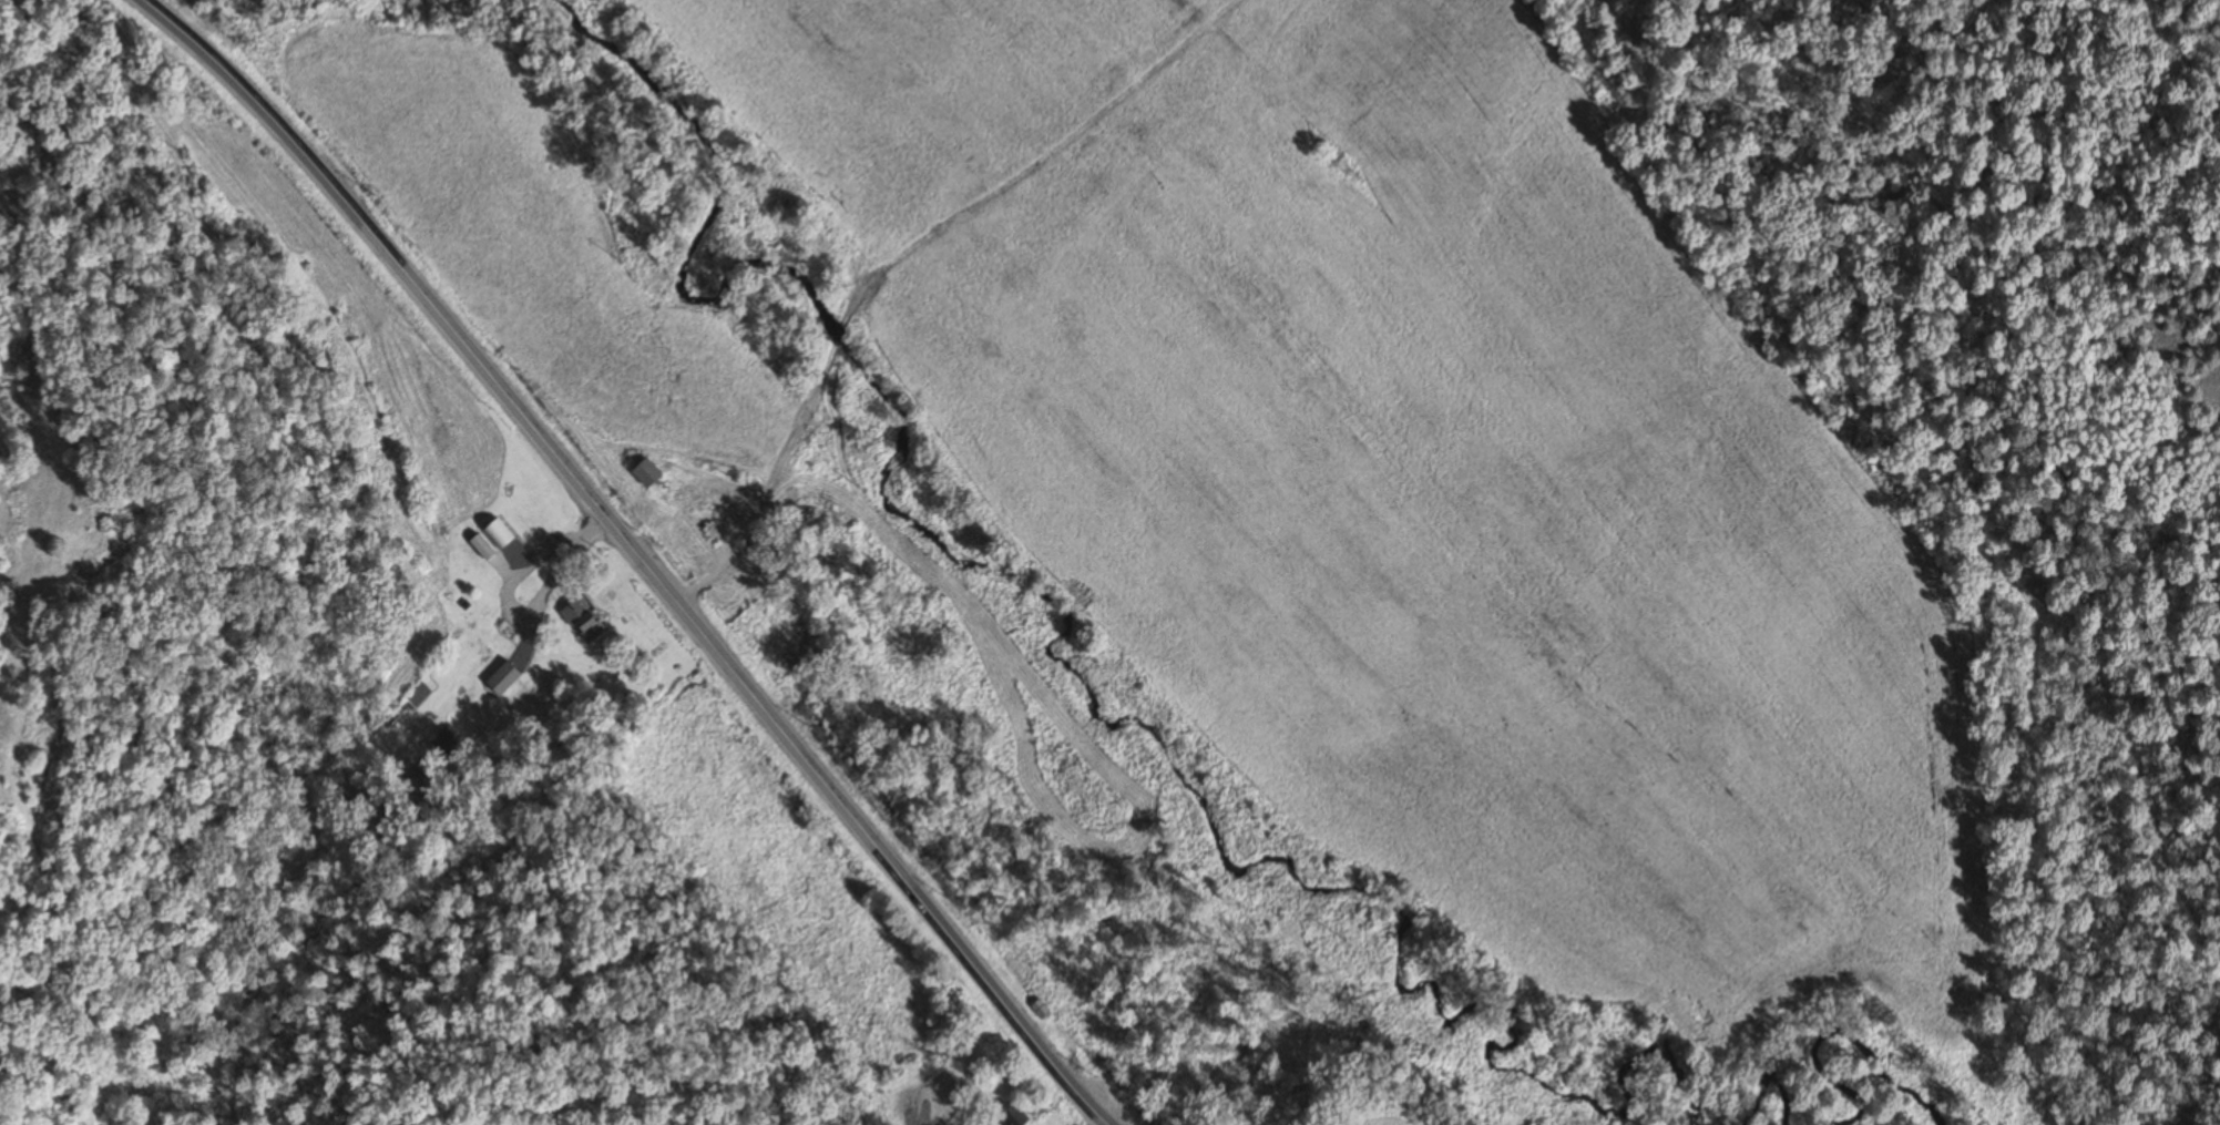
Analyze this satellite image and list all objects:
building: (608, 434)
building: (497, 534)
road: (634, 555)
building: (581, 622)
building: (501, 679)
building: (1019, 972)
building: (1005, 1117)

